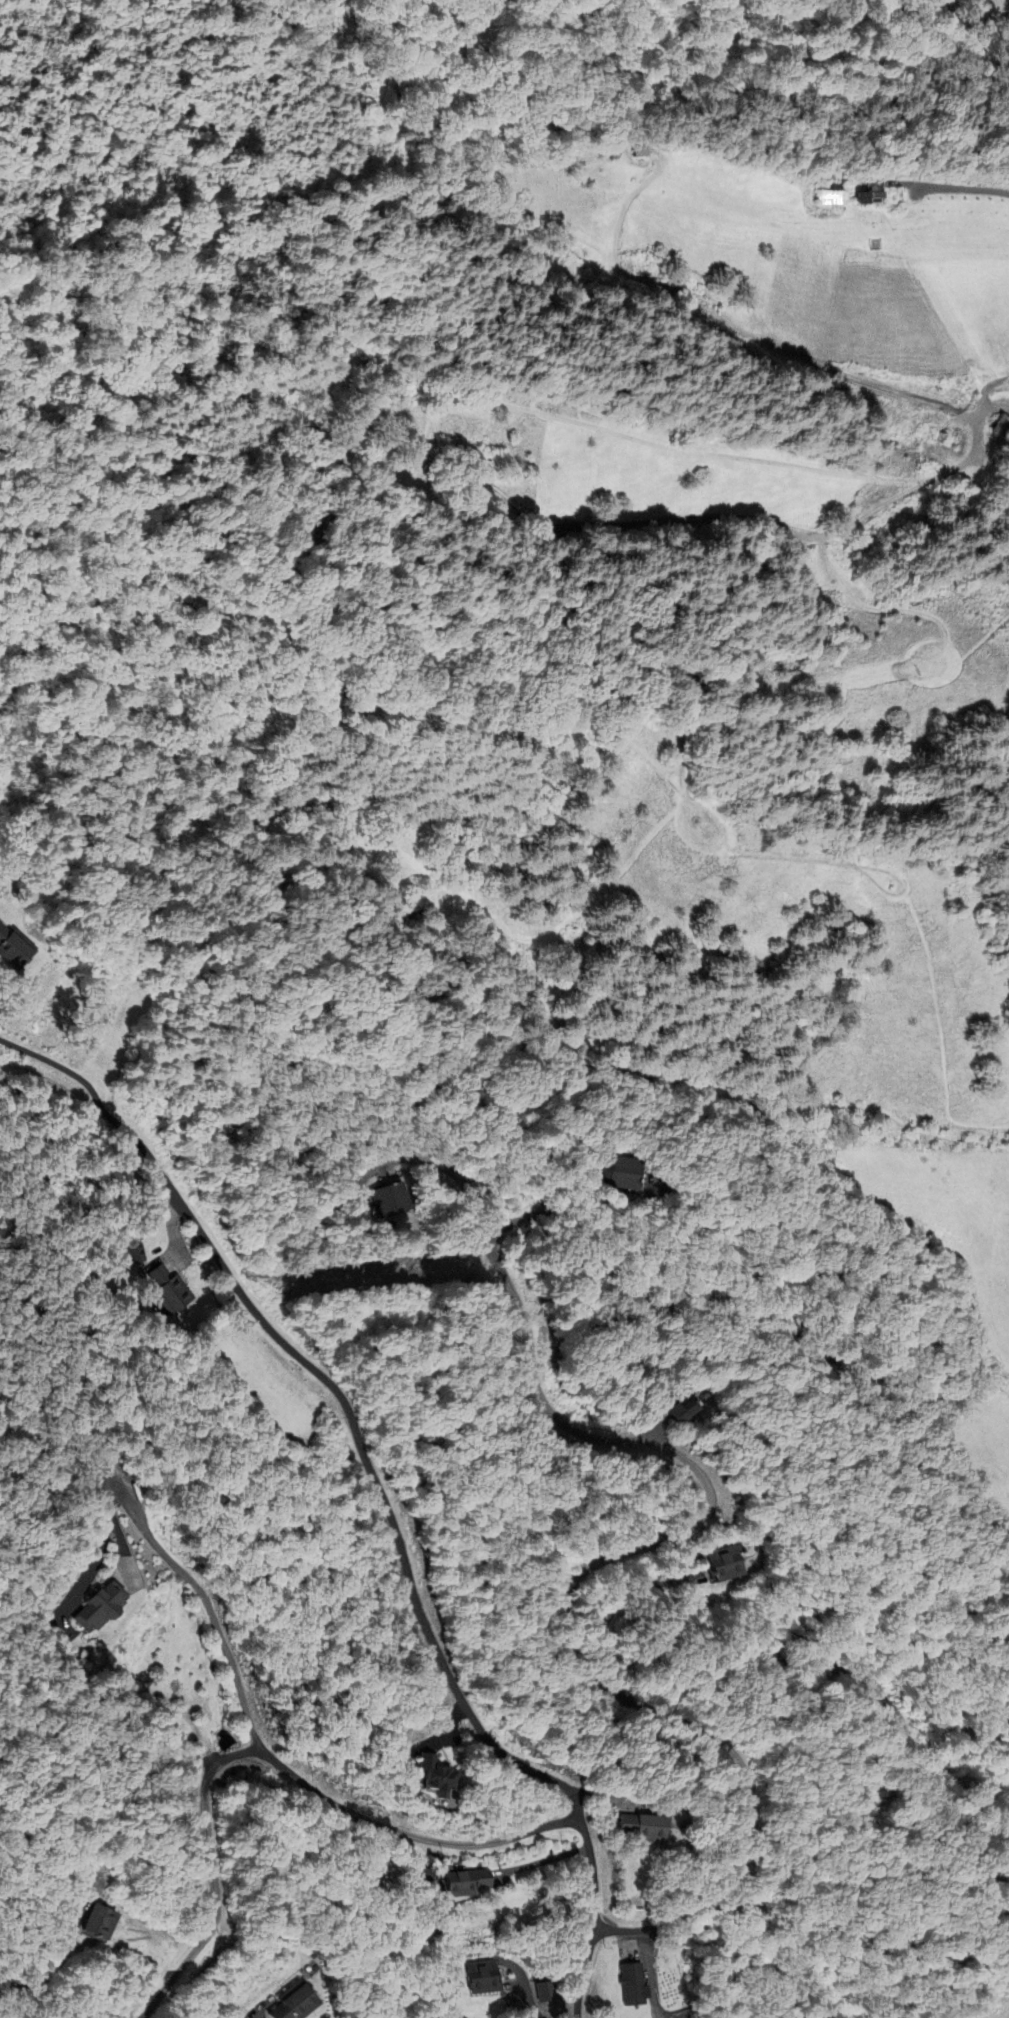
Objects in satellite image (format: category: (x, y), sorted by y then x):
road: (960, 189)
road: (745, 334)
road: (987, 391)
road: (993, 409)
road: (891, 501)
building: (12, 947)
building: (618, 1173)
building: (387, 1200)
road: (582, 1209)
building: (135, 1254)
building: (166, 1292)
building: (676, 1408)
road: (381, 1490)
building: (722, 1565)
road: (568, 1589)
building: (98, 1607)
road: (210, 1615)
road: (266, 1760)
building: (434, 1778)
building: (639, 1828)
building: (464, 1883)
building: (95, 1924)
building: (479, 1978)
building: (630, 1986)
building: (545, 1992)
building: (292, 2004)
building: (265, 2017)

